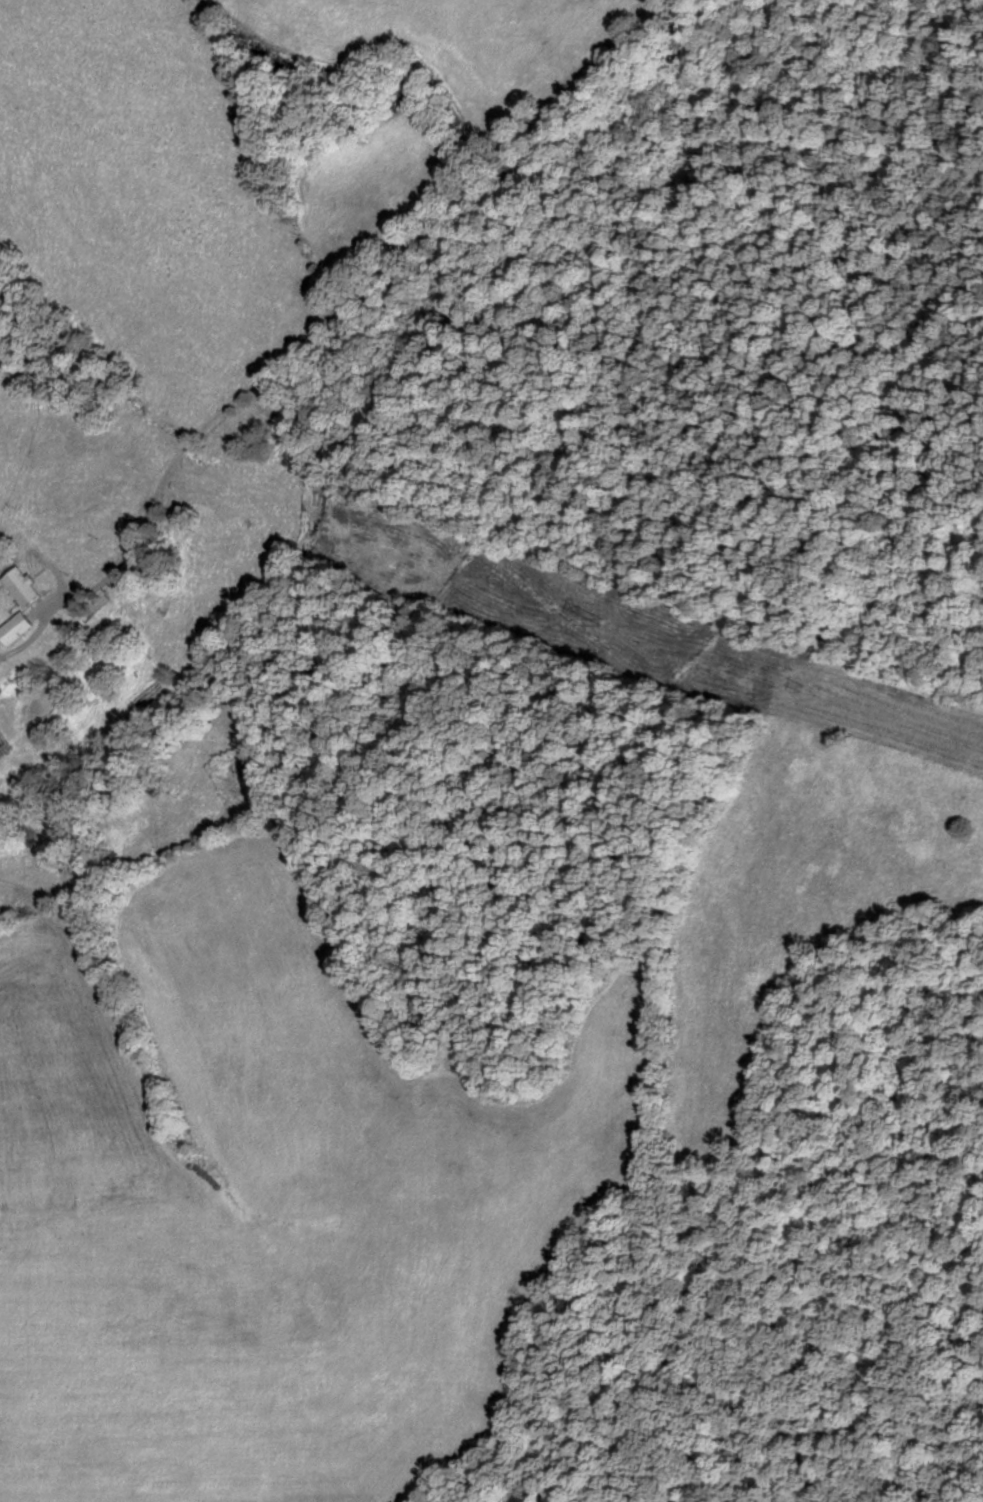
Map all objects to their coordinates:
road: (374, 303)
building: (27, 586)
building: (19, 628)

